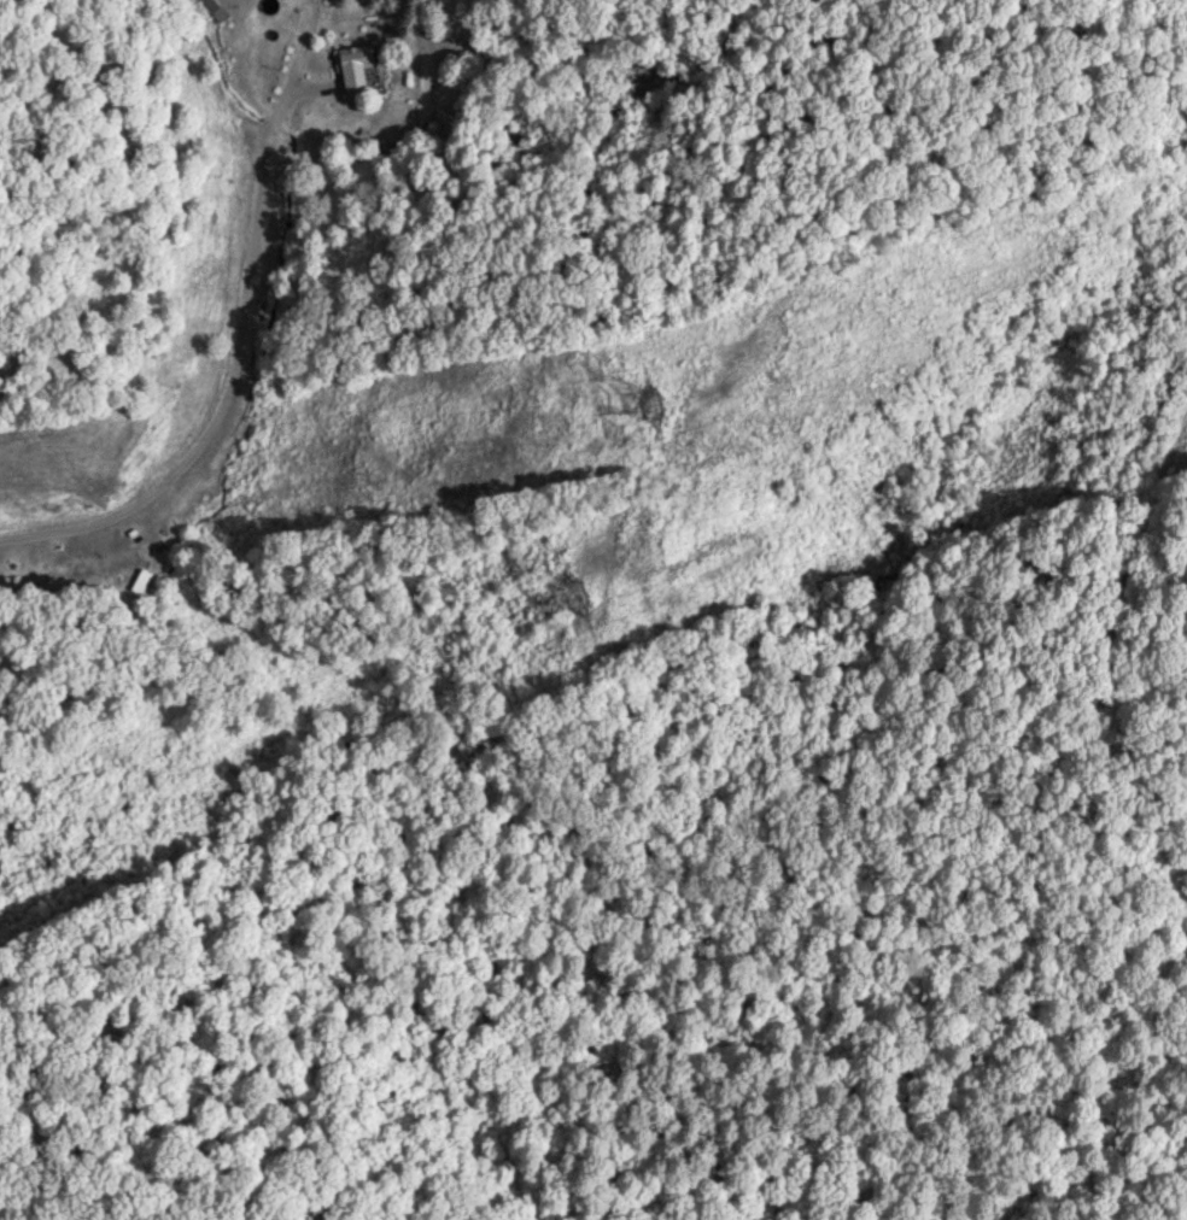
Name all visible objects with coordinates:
building: (351, 64)
road: (232, 380)
power tower: (668, 413)
power tower: (586, 606)
road: (1153, 860)

